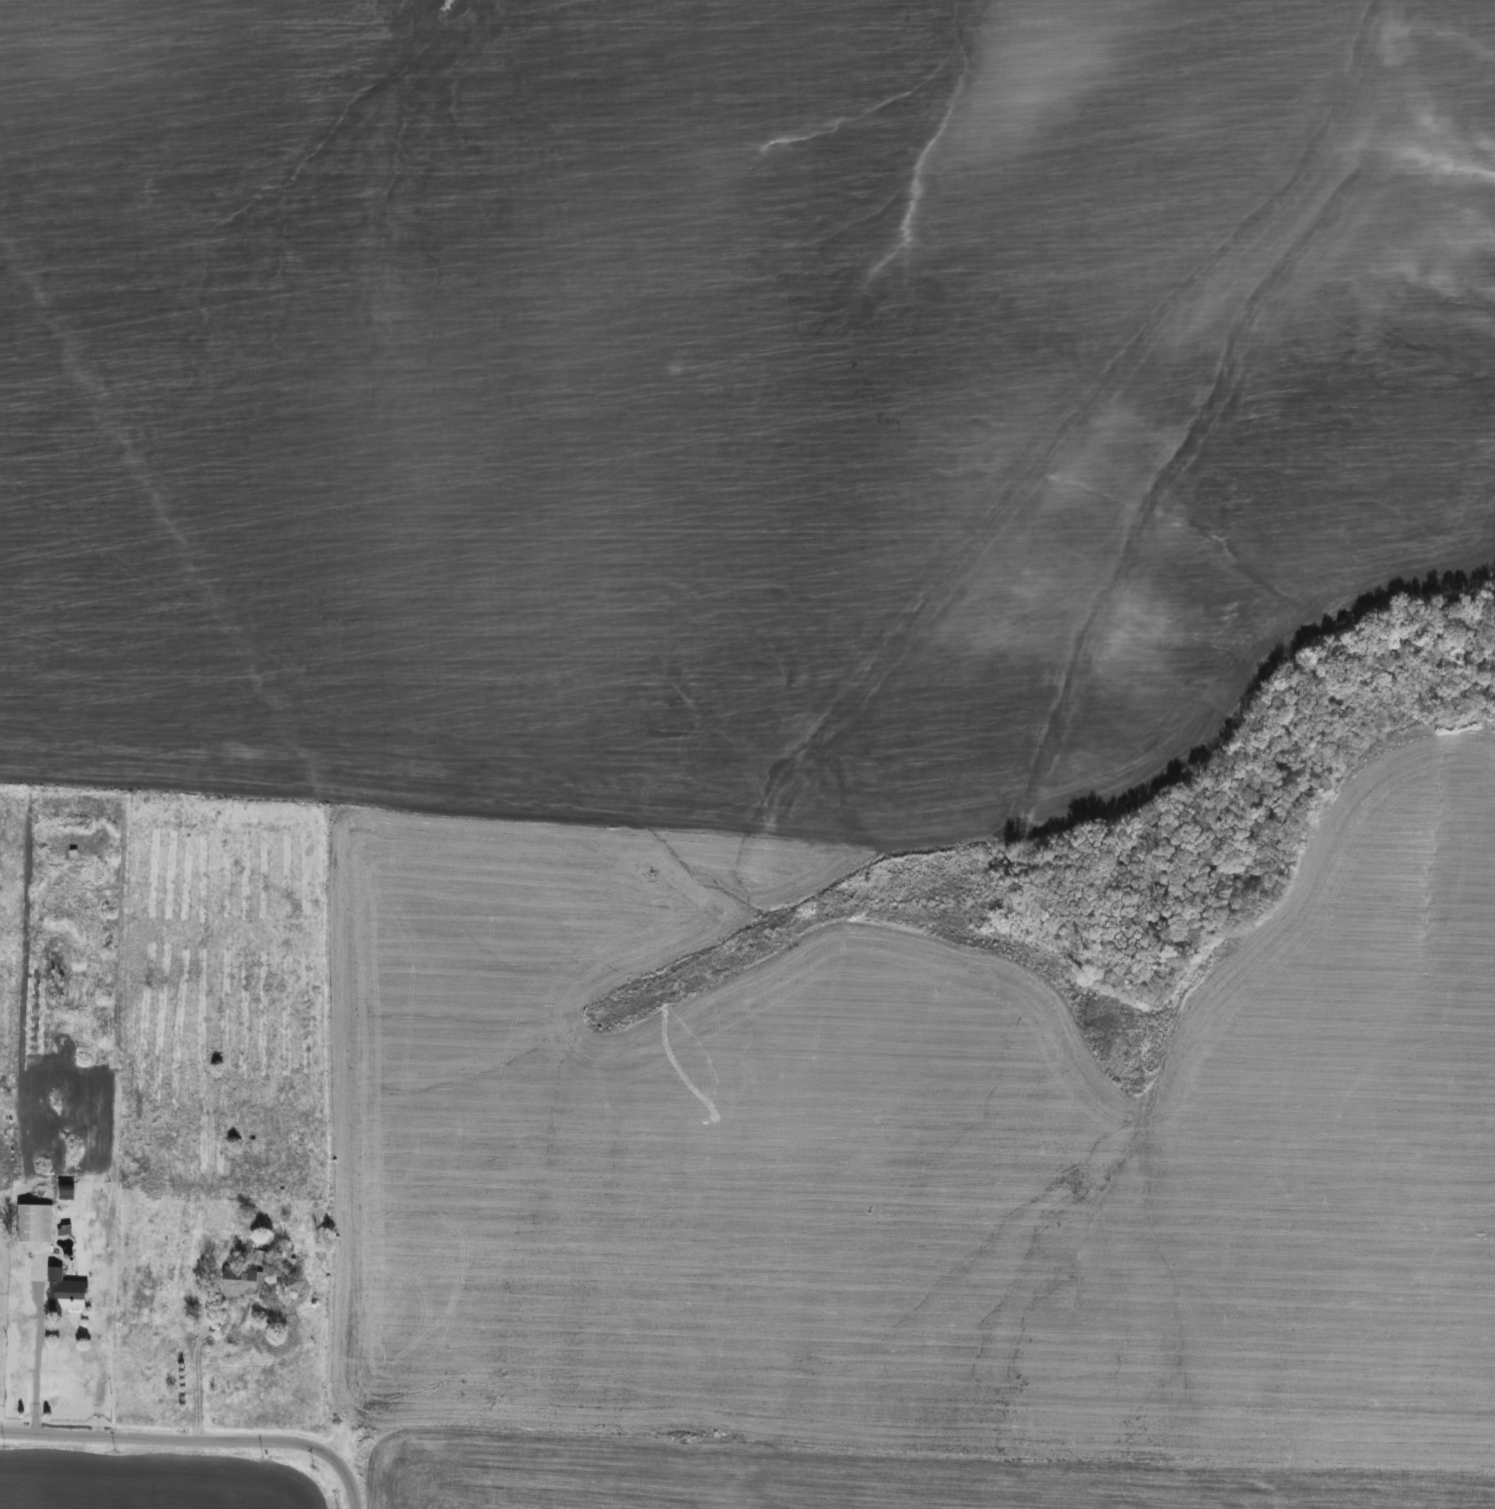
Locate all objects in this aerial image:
building: (31, 1223)
building: (240, 1282)
building: (62, 1293)
road: (36, 1357)
road: (96, 1360)
road: (195, 1375)
road: (196, 1440)

